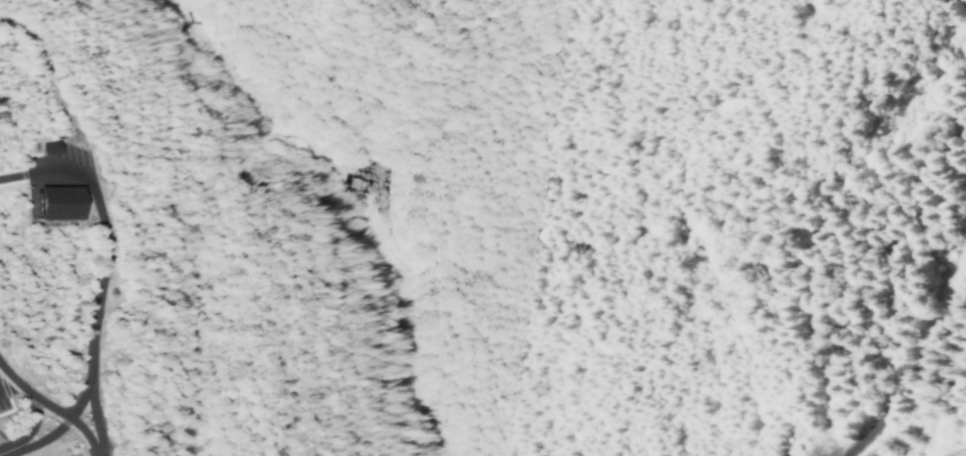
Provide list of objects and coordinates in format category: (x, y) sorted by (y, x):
road: (964, 2)
road: (39, 85)
building: (44, 147)
building: (53, 201)
road: (94, 322)
road: (911, 377)

